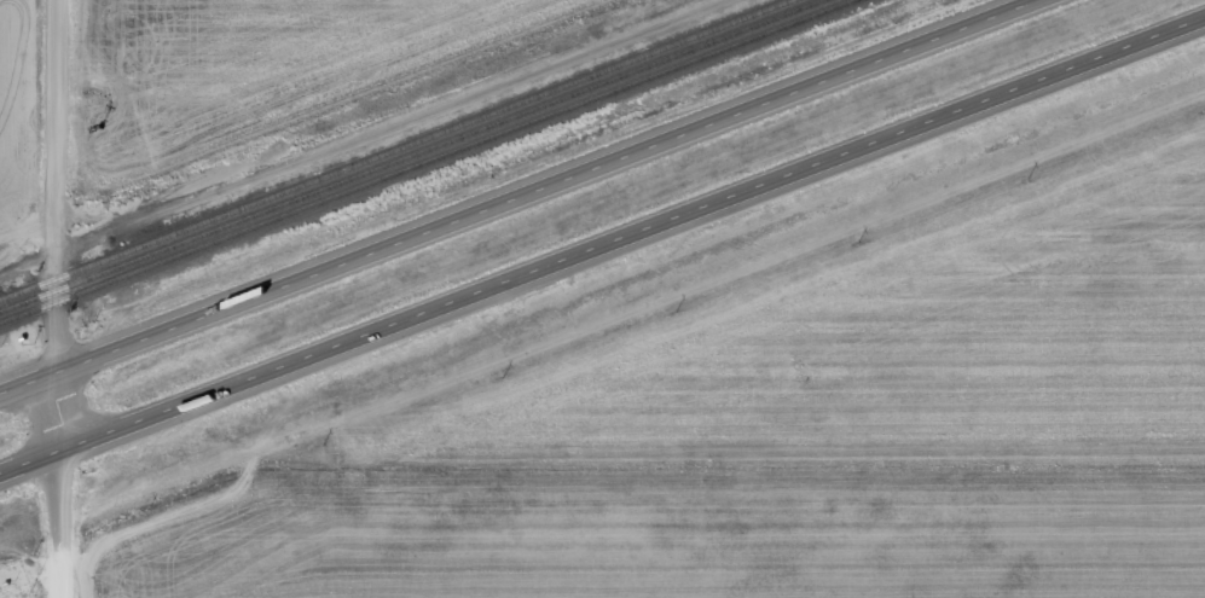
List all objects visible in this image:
road: (394, 123)
railway: (395, 149)
railway: (411, 156)
railway: (425, 161)
road: (517, 196)
road: (602, 245)
road: (57, 298)

